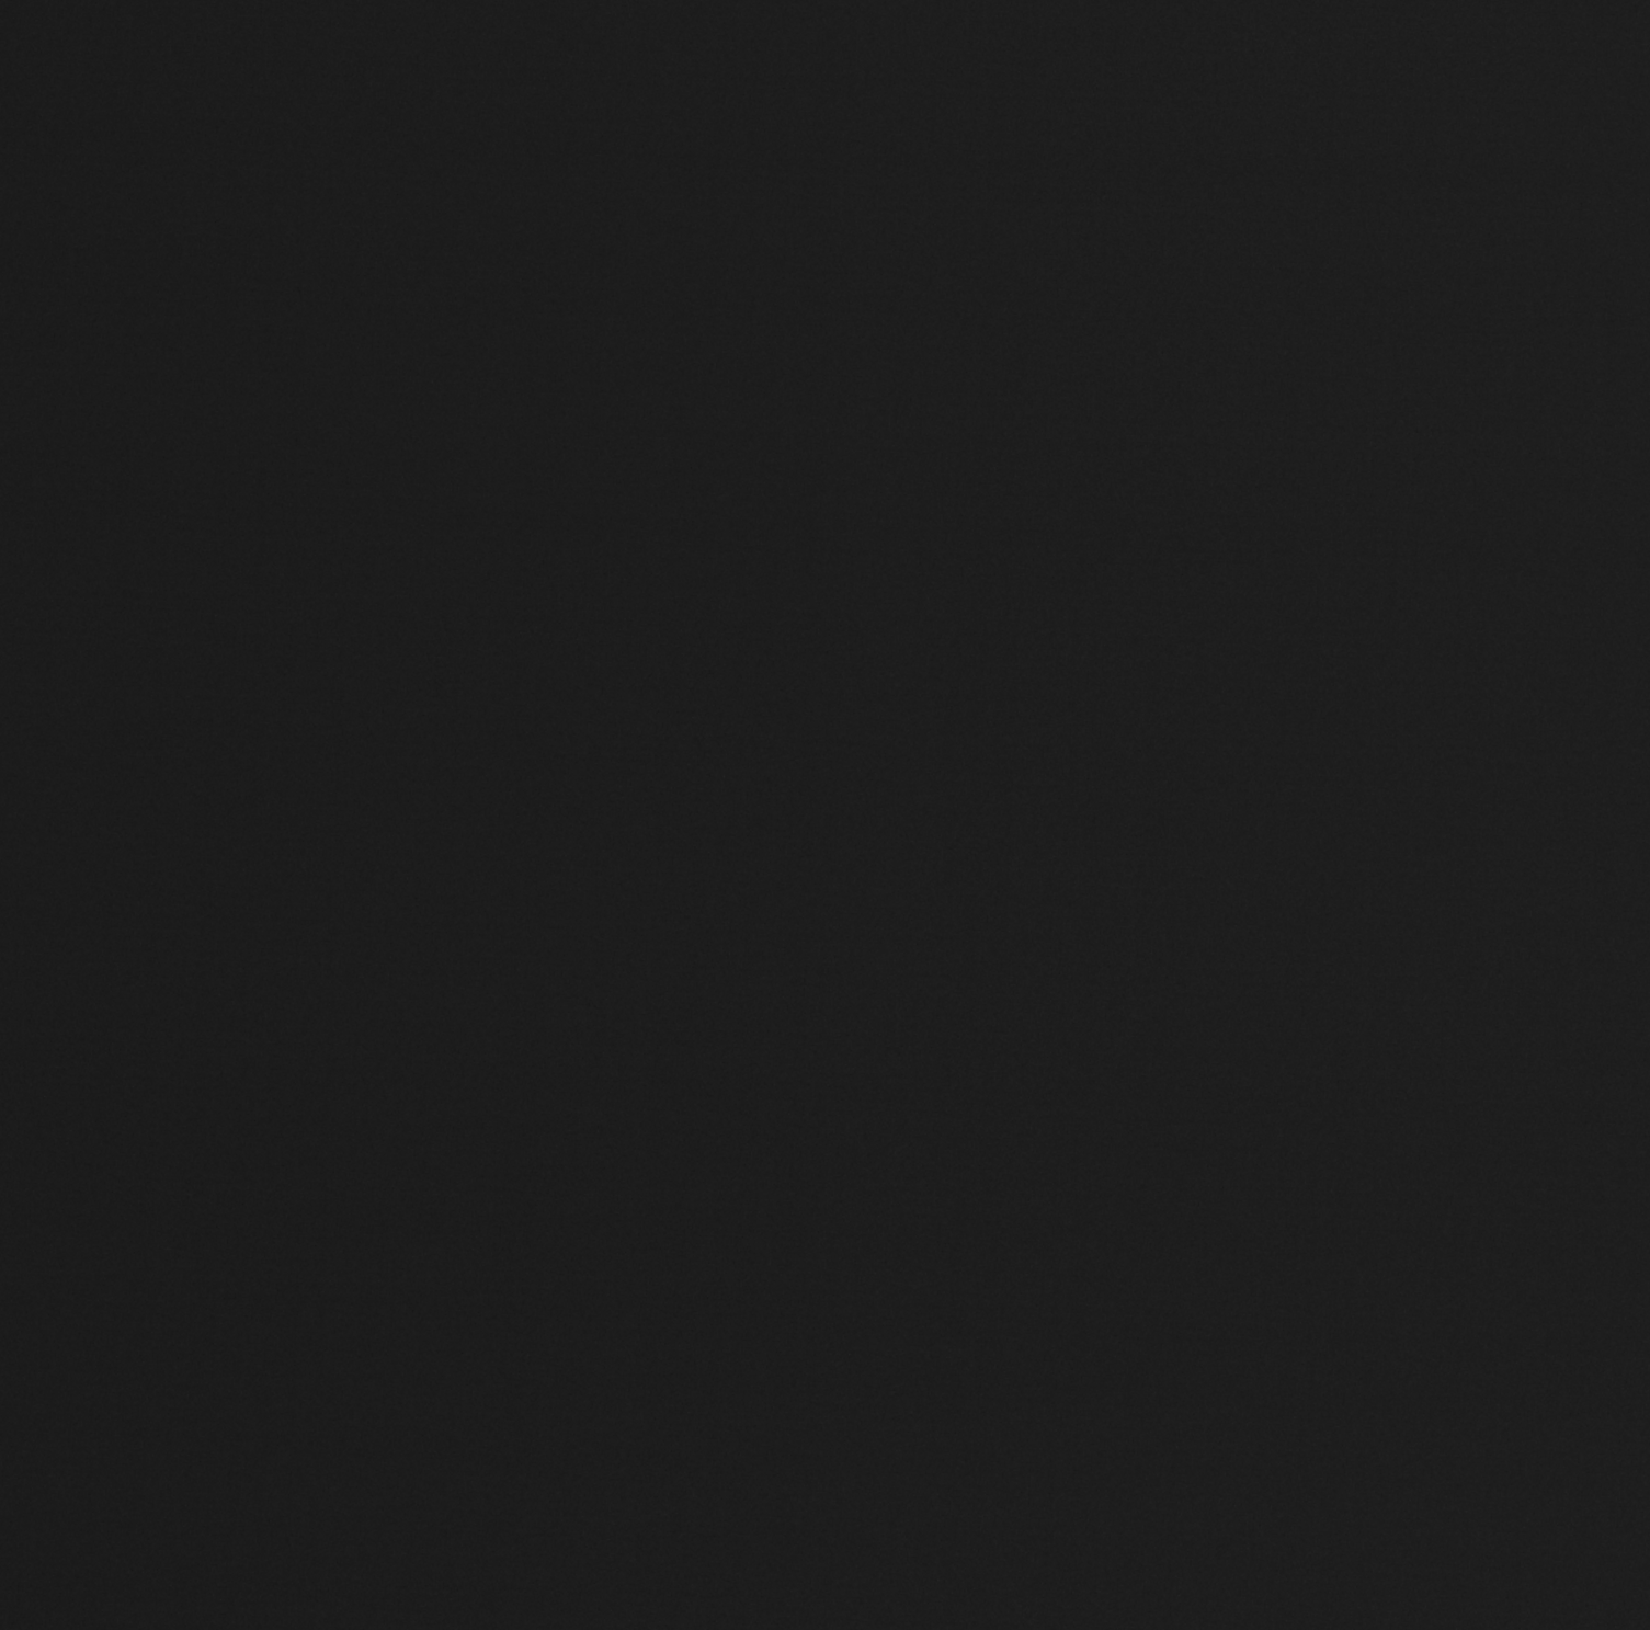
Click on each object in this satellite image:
river: (824, 1243)

